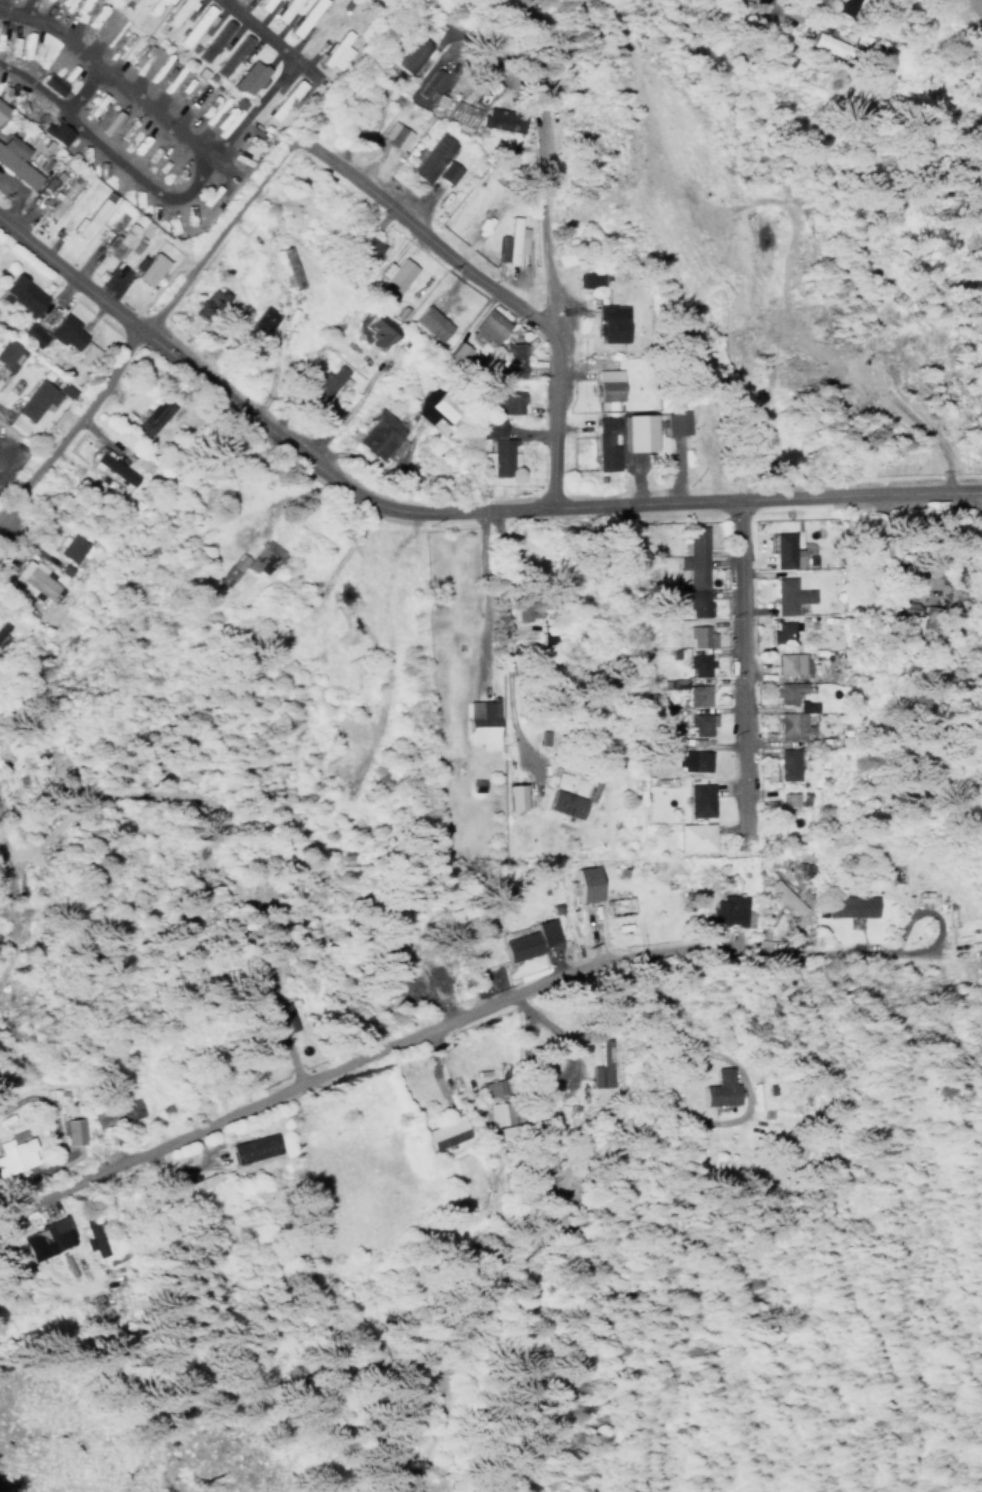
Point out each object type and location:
road: (764, 0)
building: (124, 2)
building: (262, 4)
building: (154, 5)
building: (283, 10)
building: (175, 12)
building: (303, 17)
building: (194, 24)
road: (265, 31)
building: (211, 40)
building: (828, 45)
building: (333, 48)
building: (408, 53)
building: (229, 55)
road: (109, 73)
building: (246, 77)
building: (50, 83)
building: (427, 83)
building: (282, 100)
building: (0, 106)
building: (501, 121)
building: (53, 132)
building: (393, 135)
building: (428, 157)
building: (14, 162)
road: (126, 162)
building: (446, 172)
building: (90, 215)
building: (116, 221)
road: (218, 229)
road: (425, 230)
road: (548, 234)
building: (117, 242)
building: (509, 242)
building: (362, 252)
building: (147, 269)
building: (391, 276)
building: (585, 279)
building: (19, 294)
building: (204, 304)
building: (258, 322)
building: (429, 323)
building: (610, 323)
building: (486, 326)
building: (64, 331)
building: (369, 332)
building: (30, 333)
building: (454, 351)
building: (7, 355)
building: (509, 359)
building: (605, 384)
building: (319, 387)
building: (505, 400)
building: (27, 406)
building: (430, 407)
building: (147, 420)
road: (72, 422)
building: (672, 422)
building: (485, 428)
building: (634, 433)
building: (374, 435)
building: (602, 443)
building: (496, 457)
building: (111, 468)
road: (286, 492)
road: (441, 506)
building: (68, 547)
road: (346, 548)
building: (781, 551)
building: (261, 558)
building: (230, 570)
building: (692, 570)
building: (35, 581)
building: (786, 596)
road: (486, 613)
building: (926, 618)
building: (904, 621)
building: (297, 623)
building: (5, 635)
building: (697, 636)
building: (780, 637)
road: (388, 640)
road: (504, 645)
road: (743, 657)
building: (786, 664)
building: (696, 665)
building: (785, 692)
building: (696, 695)
building: (478, 721)
building: (699, 724)
building: (789, 726)
building: (682, 756)
building: (785, 763)
building: (508, 797)
building: (787, 799)
building: (697, 800)
building: (562, 804)
building: (766, 806)
building: (693, 836)
building: (896, 874)
building: (581, 883)
building: (919, 895)
building: (783, 897)
building: (847, 905)
building: (727, 910)
building: (528, 939)
building: (435, 975)
road: (672, 995)
road: (422, 1026)
building: (488, 1088)
building: (717, 1088)
building: (123, 1109)
building: (499, 1112)
building: (67, 1130)
building: (442, 1132)
building: (250, 1148)
building: (14, 1154)
building: (196, 1184)
road: (85, 1232)
building: (43, 1238)

